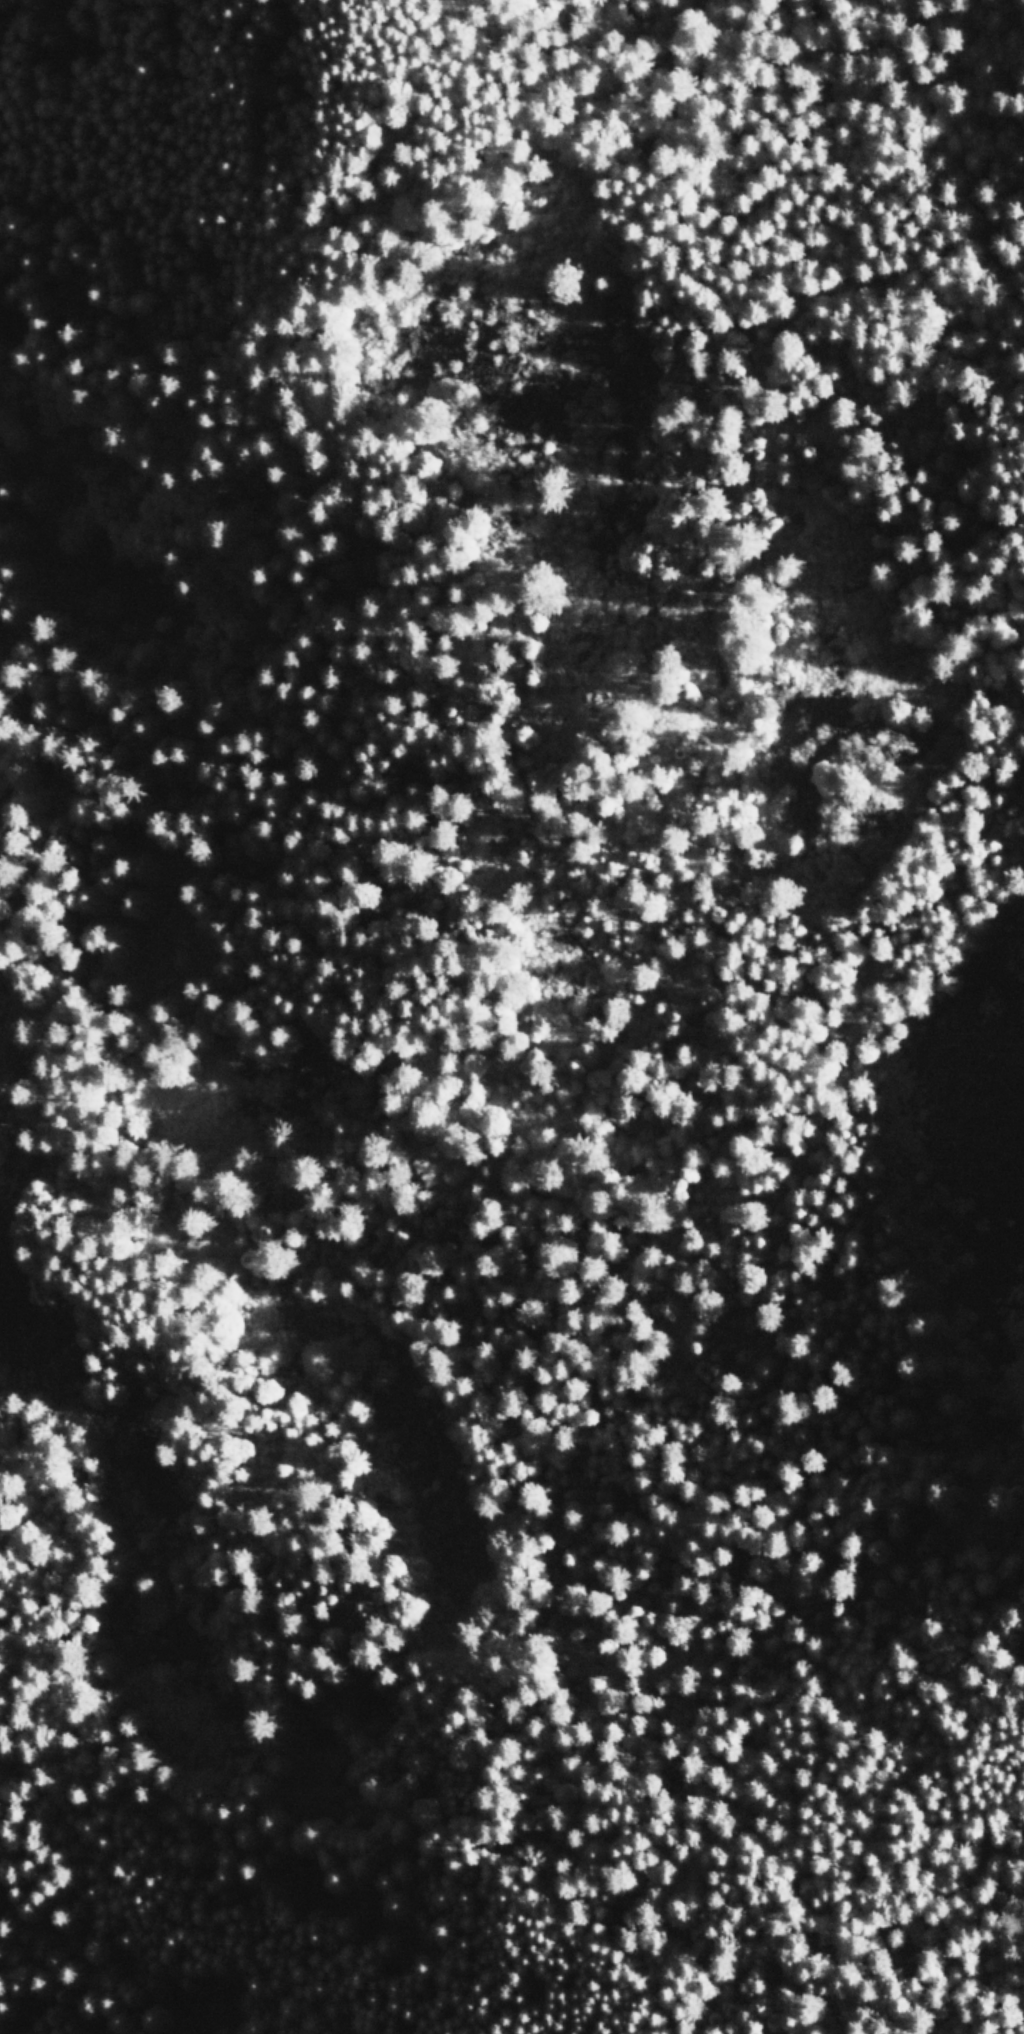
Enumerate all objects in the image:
road: (42, 1835)
road: (880, 1942)

